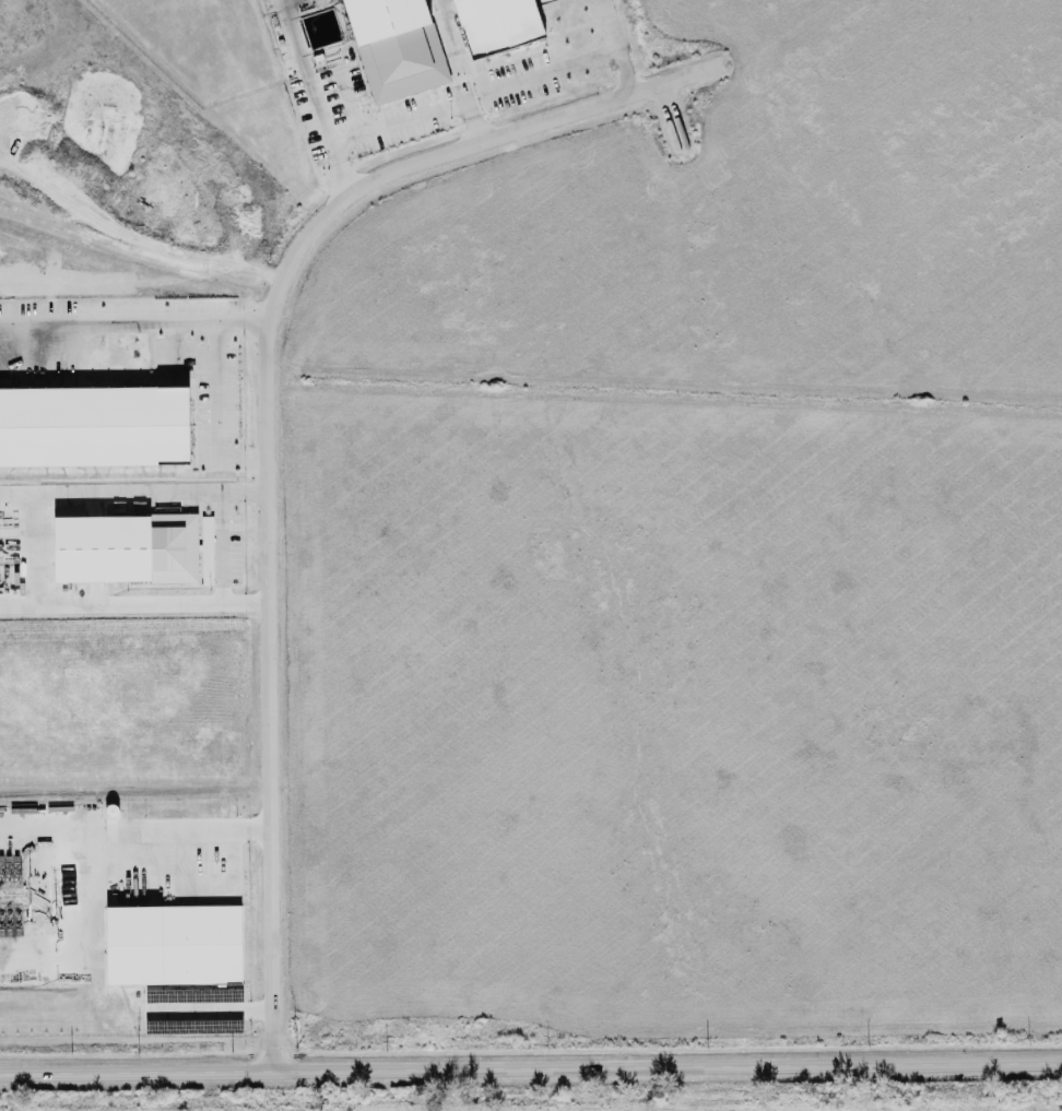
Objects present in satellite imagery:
building: (494, 24)
building: (393, 47)
road: (610, 47)
road: (547, 72)
road: (309, 99)
road: (412, 118)
road: (132, 324)
road: (216, 413)
road: (262, 418)
building: (94, 427)
road: (131, 493)
road: (217, 548)
building: (133, 549)
road: (37, 552)
road: (132, 605)
road: (110, 832)
road: (172, 888)
building: (174, 939)
road: (211, 1010)
road: (530, 1065)

